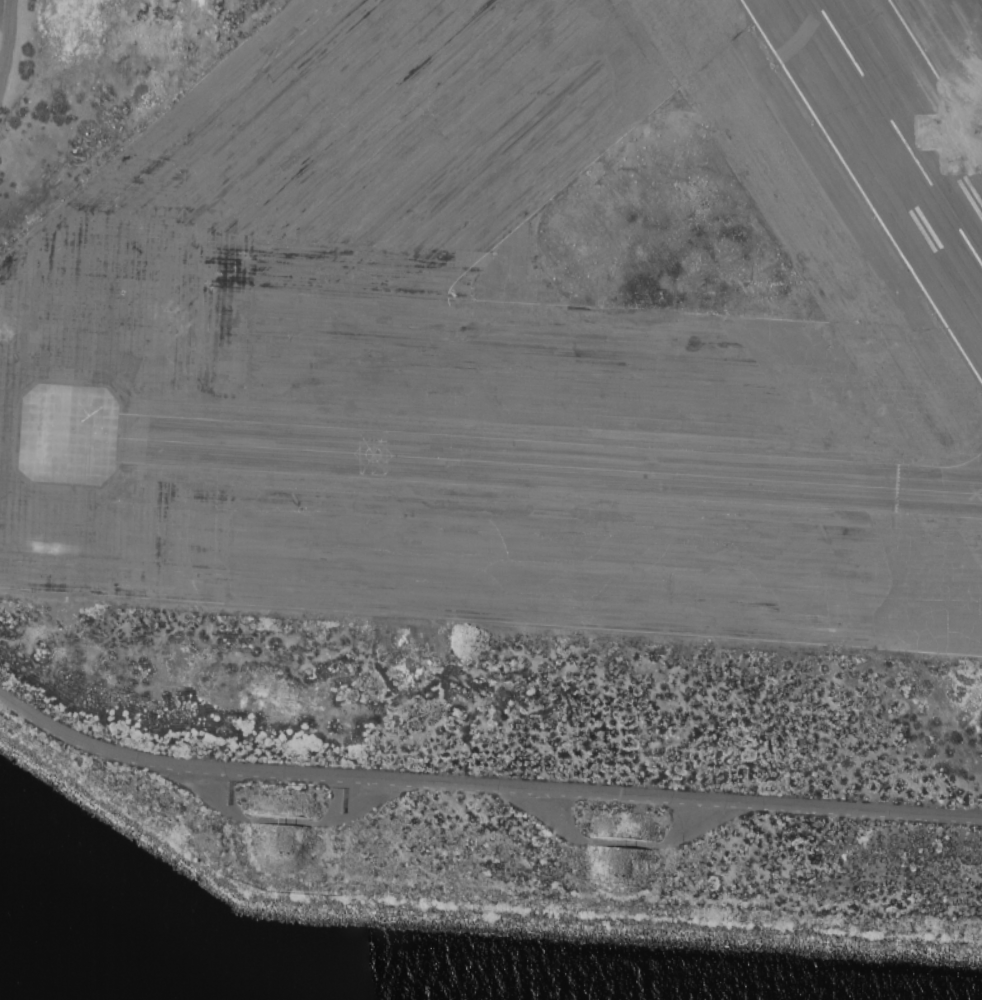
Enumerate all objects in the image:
road: (483, 786)

